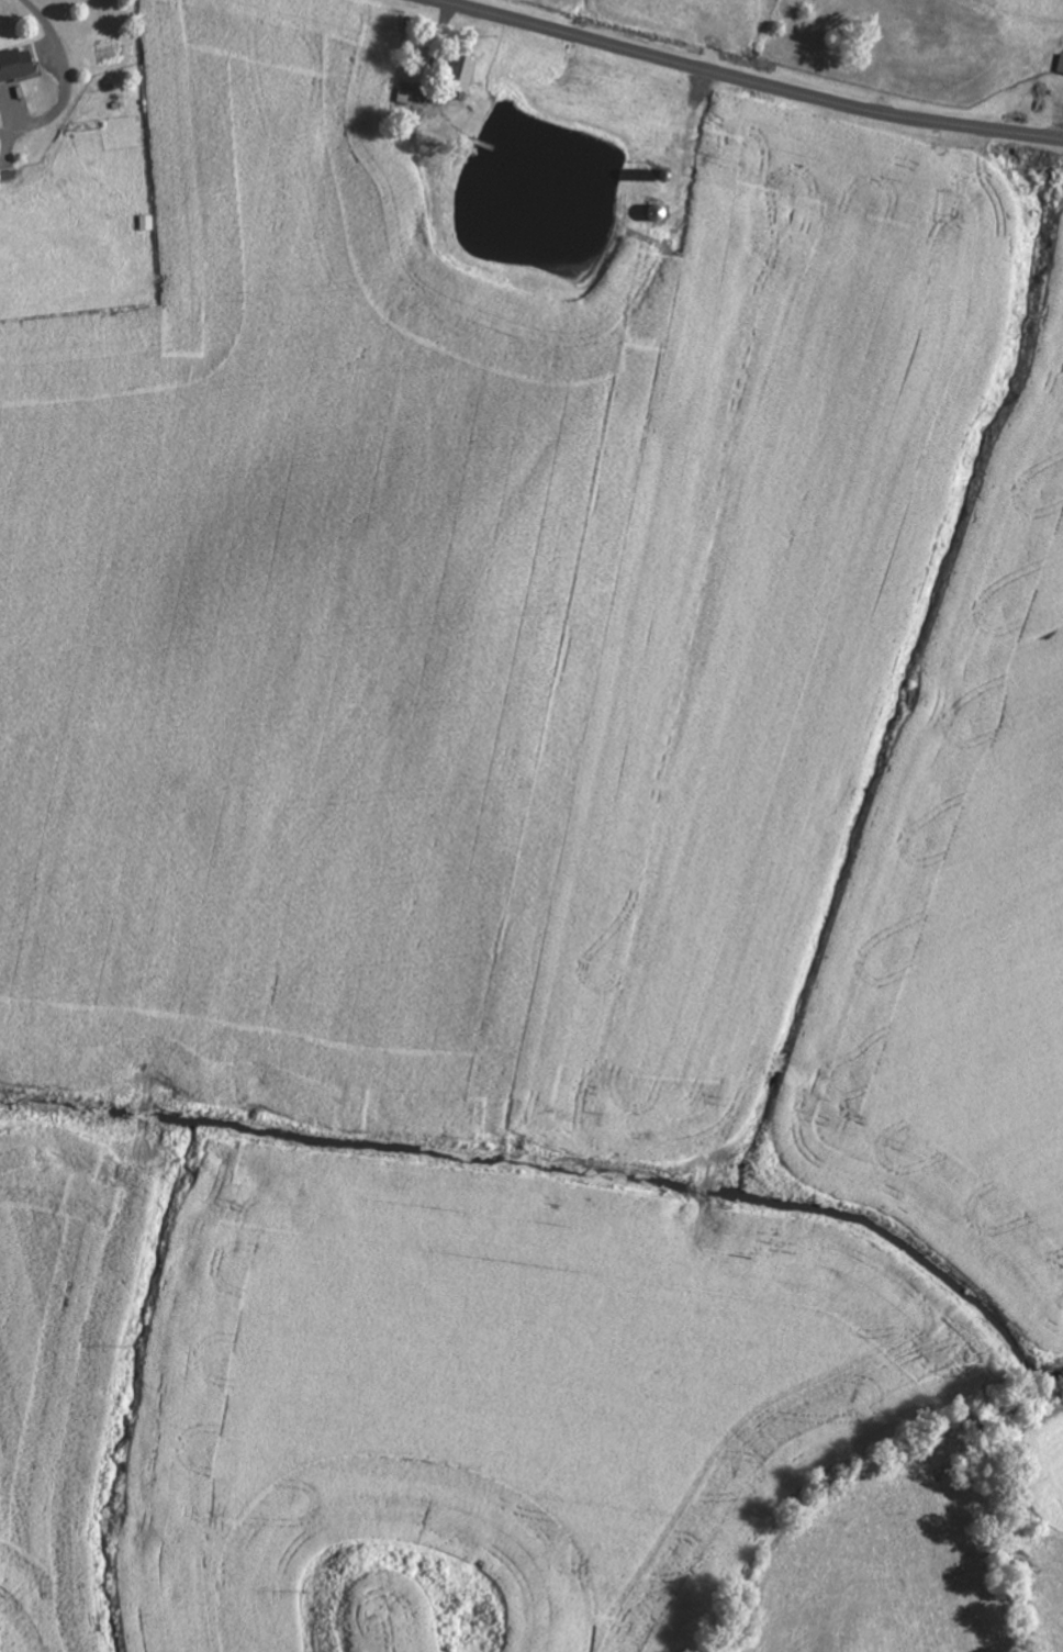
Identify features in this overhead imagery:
building: (14, 67)
building: (1060, 68)
building: (462, 76)
road: (746, 81)

